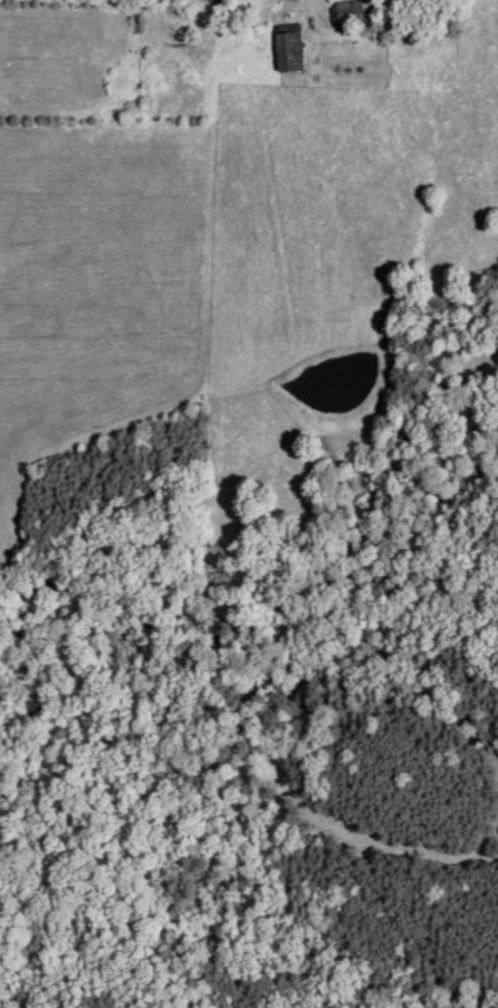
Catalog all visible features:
road: (324, 6)
building: (355, 14)
building: (291, 48)

